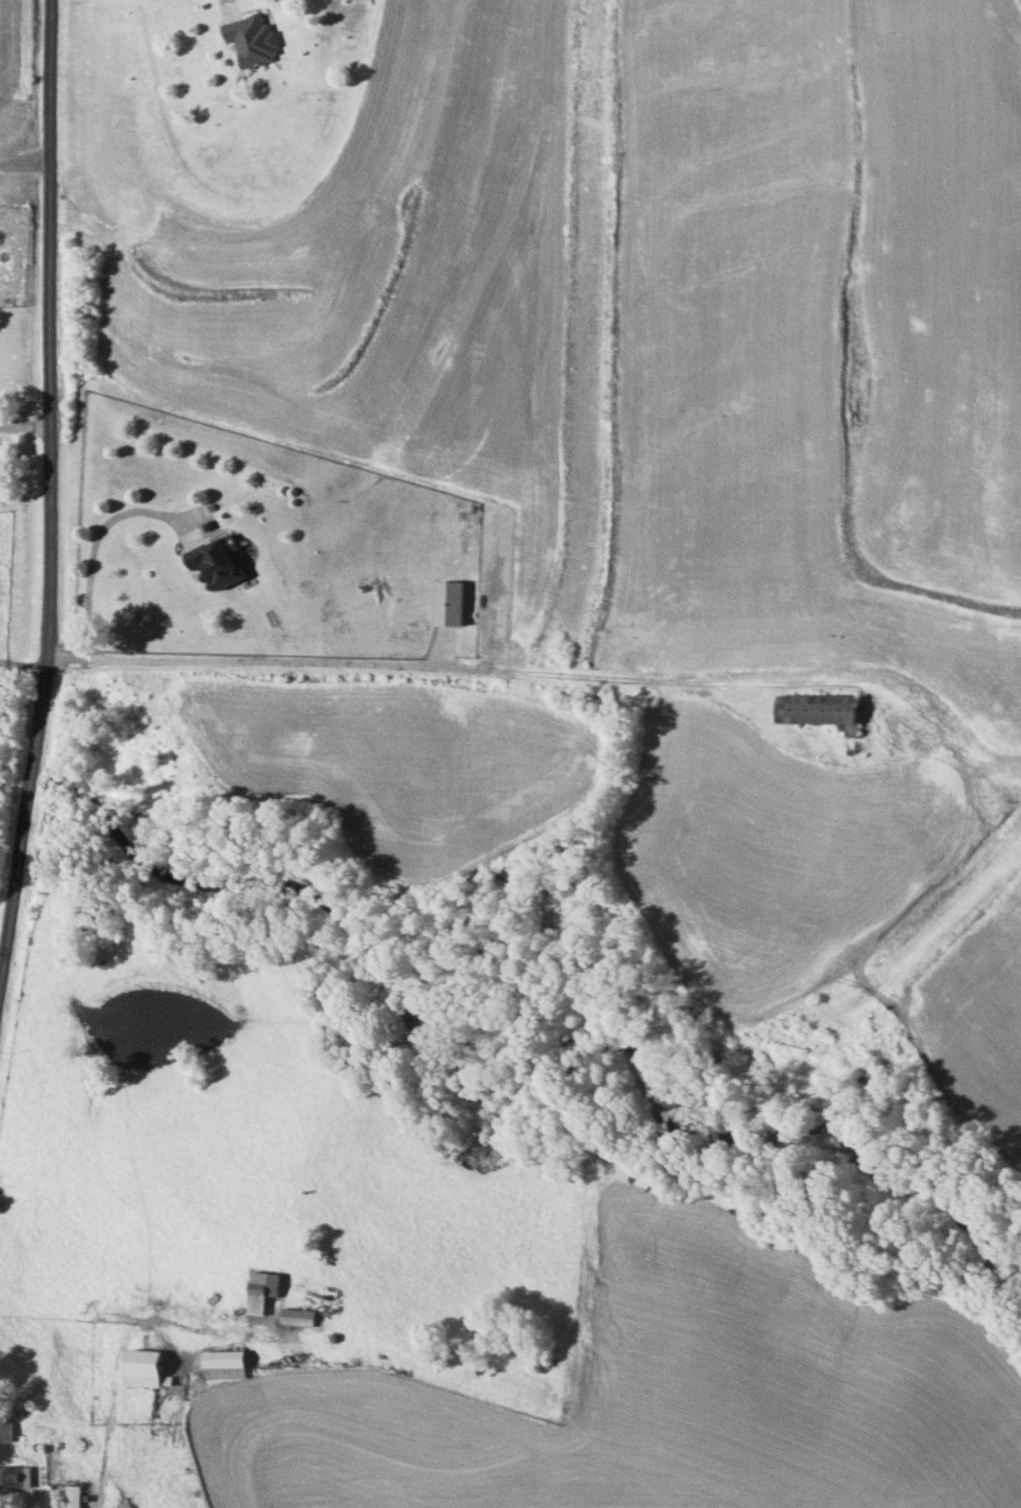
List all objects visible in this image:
road: (231, 7)
building: (248, 40)
road: (24, 425)
road: (49, 484)
road: (100, 534)
road: (523, 669)
building: (815, 708)
building: (262, 1287)
building: (296, 1317)
building: (221, 1364)
building: (142, 1369)
building: (5, 1430)
road: (38, 1461)
building: (15, 1477)
building: (72, 1496)

